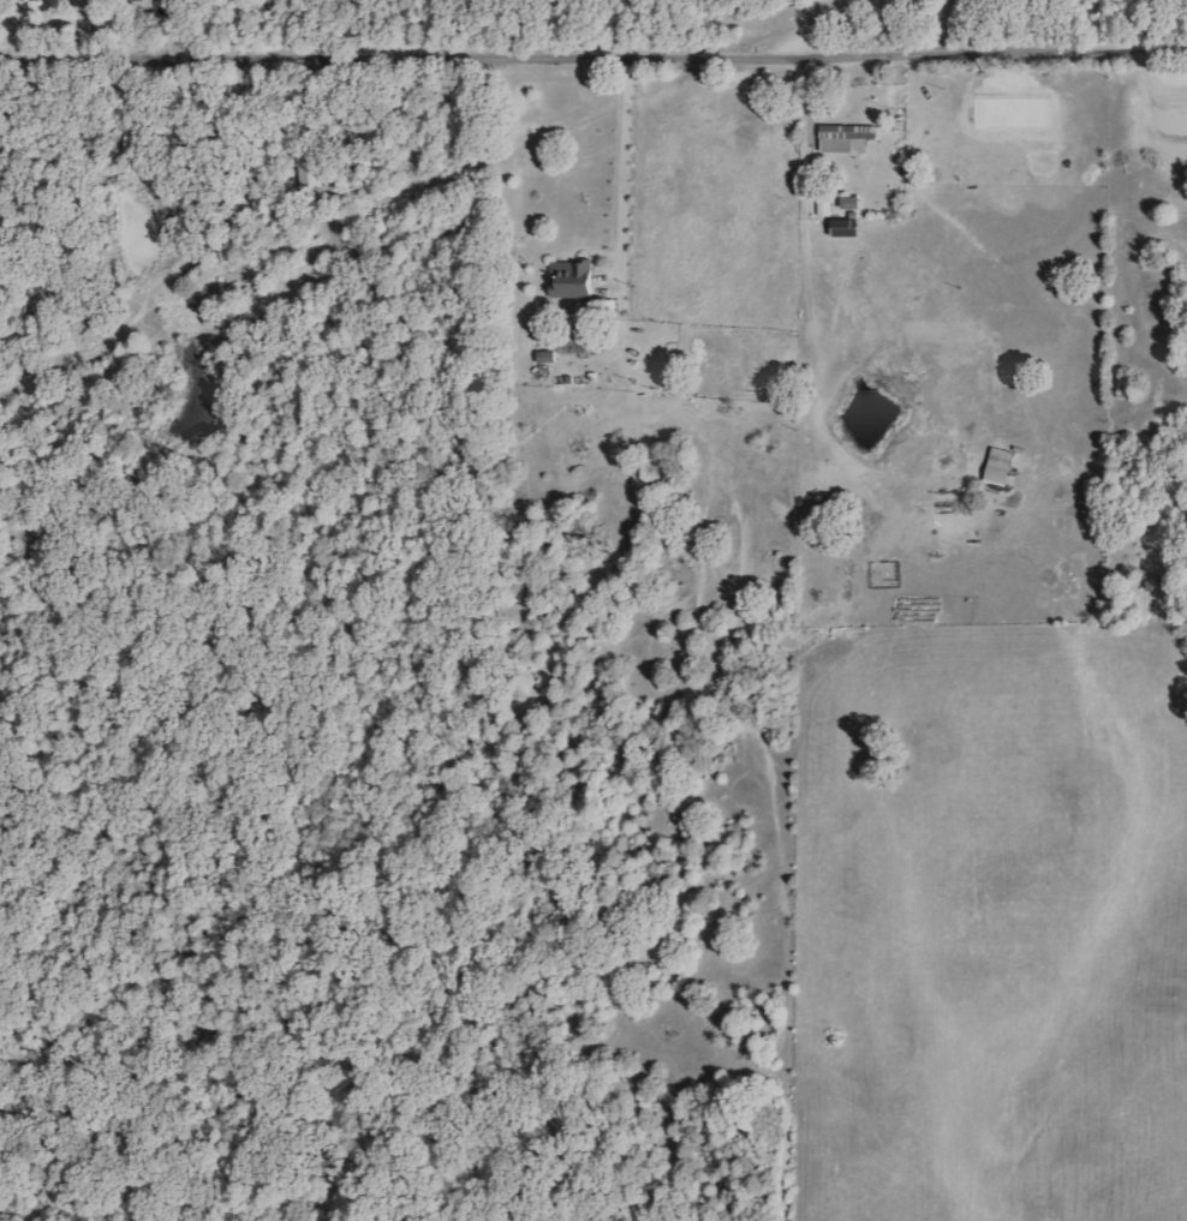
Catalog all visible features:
building: (138, 0)
building: (8, 1)
road: (830, 22)
road: (593, 58)
building: (848, 138)
road: (628, 167)
building: (311, 172)
building: (853, 203)
building: (847, 228)
building: (574, 280)
building: (1002, 466)

